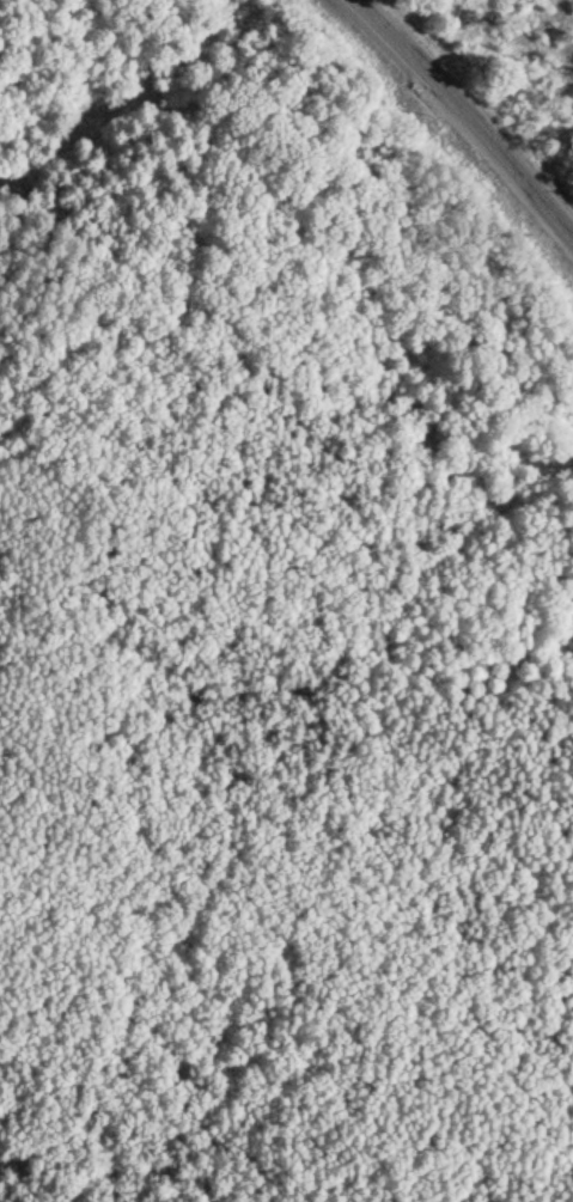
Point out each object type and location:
road: (468, 116)

